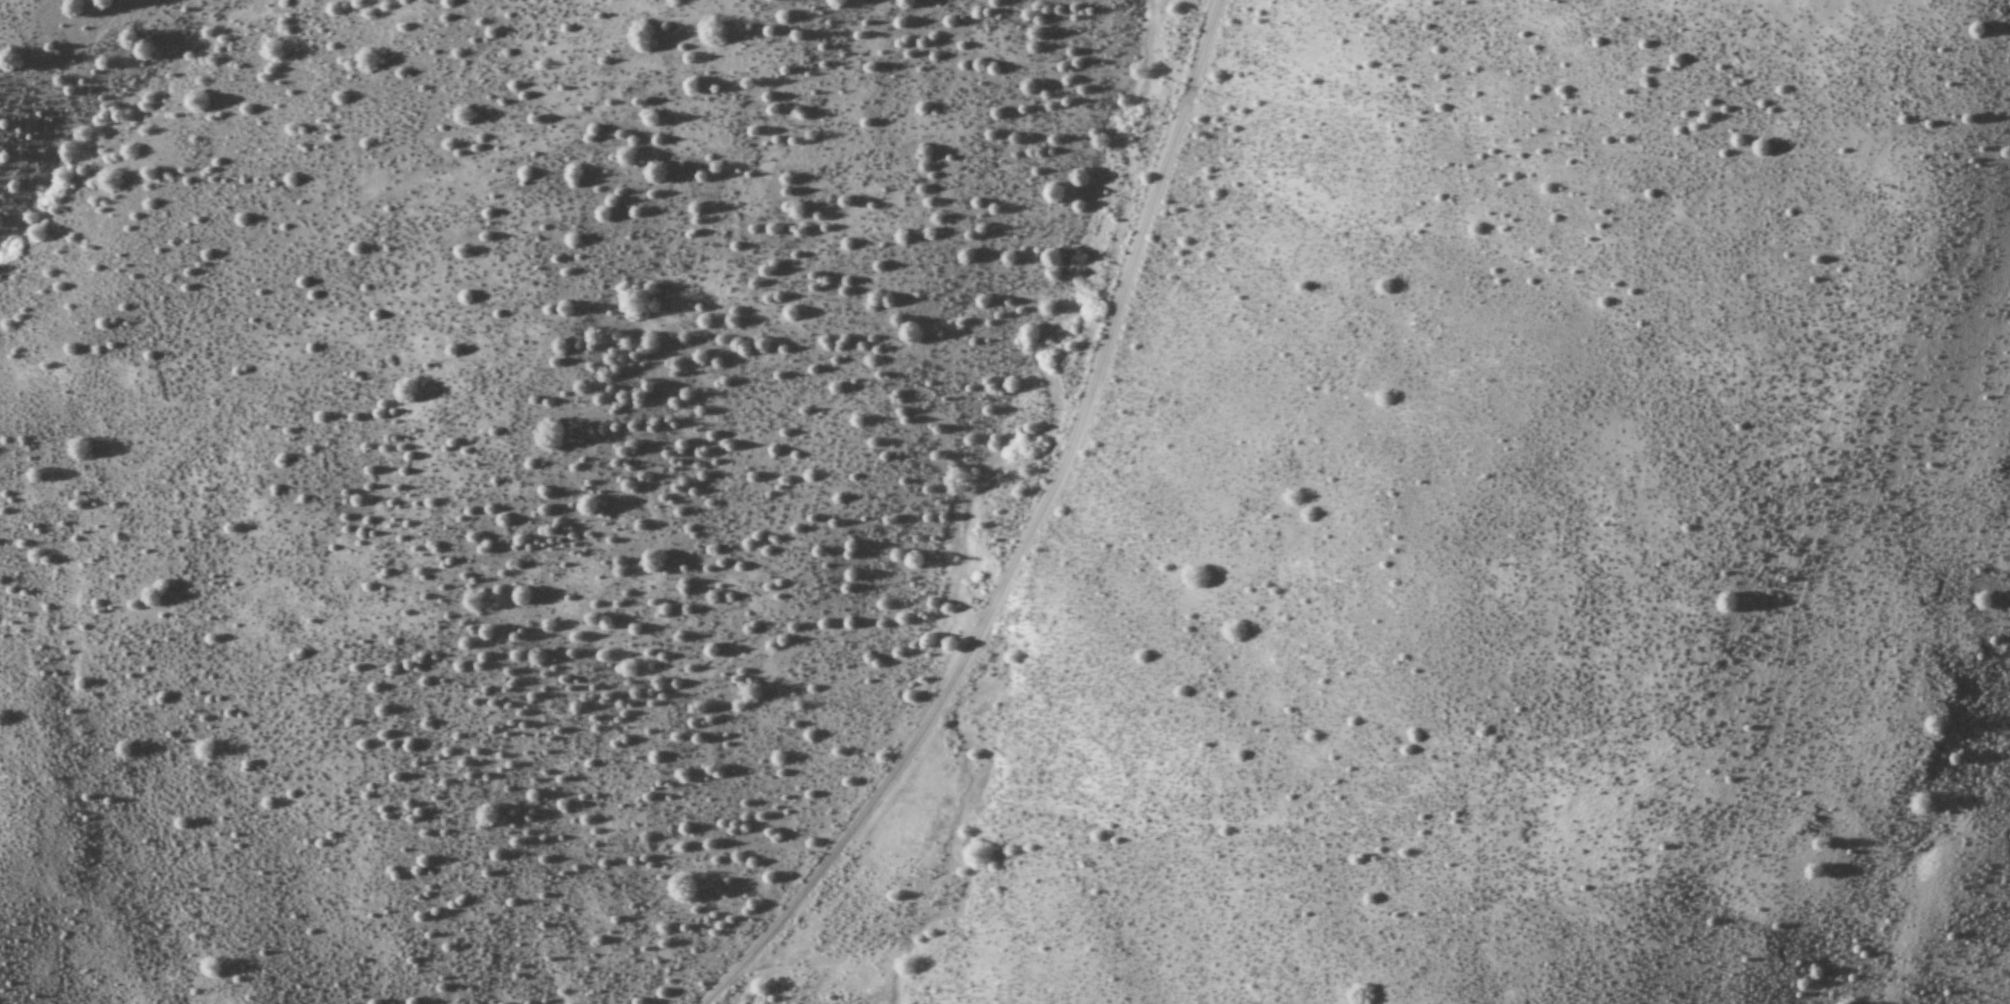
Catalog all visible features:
road: (1027, 547)

